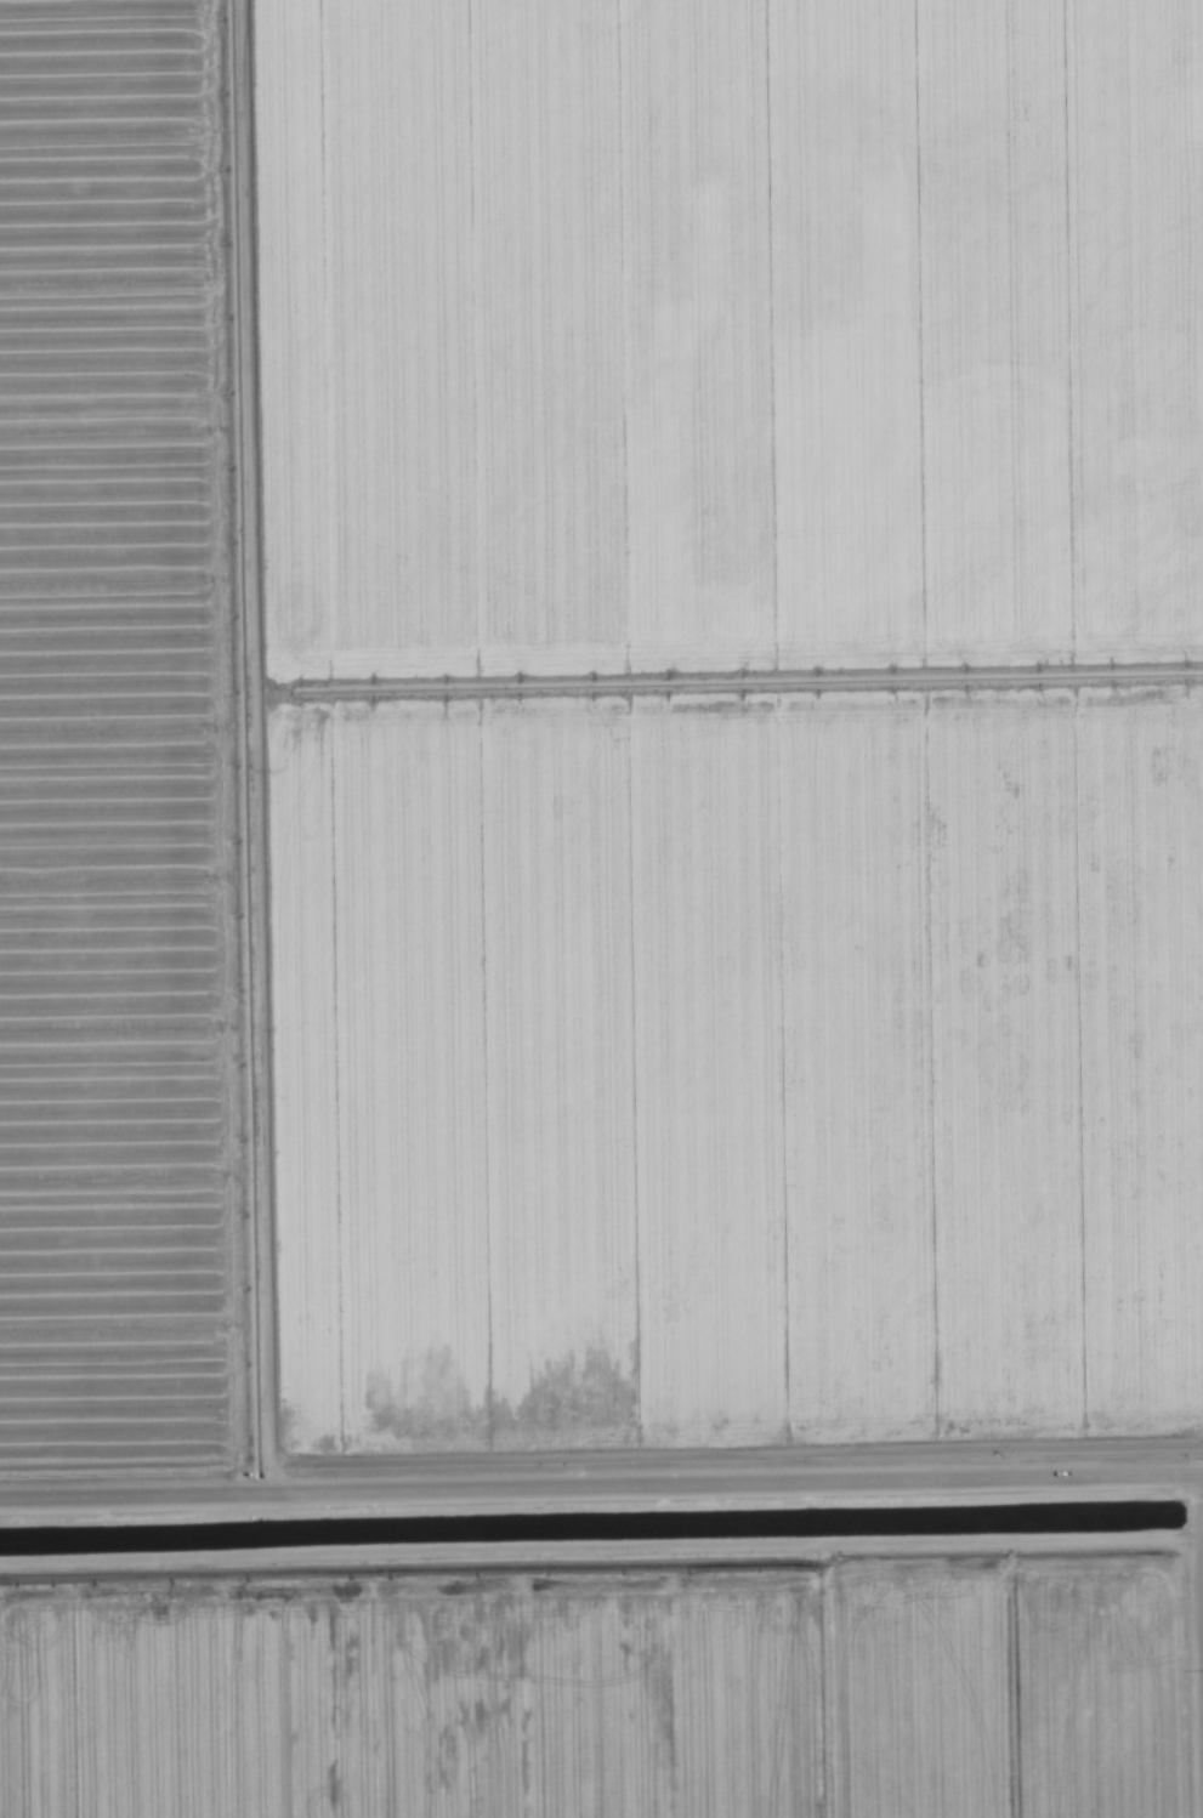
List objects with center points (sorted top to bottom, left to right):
road: (1199, 1485)
road: (601, 1487)
road: (1201, 1517)
road: (1202, 1587)

